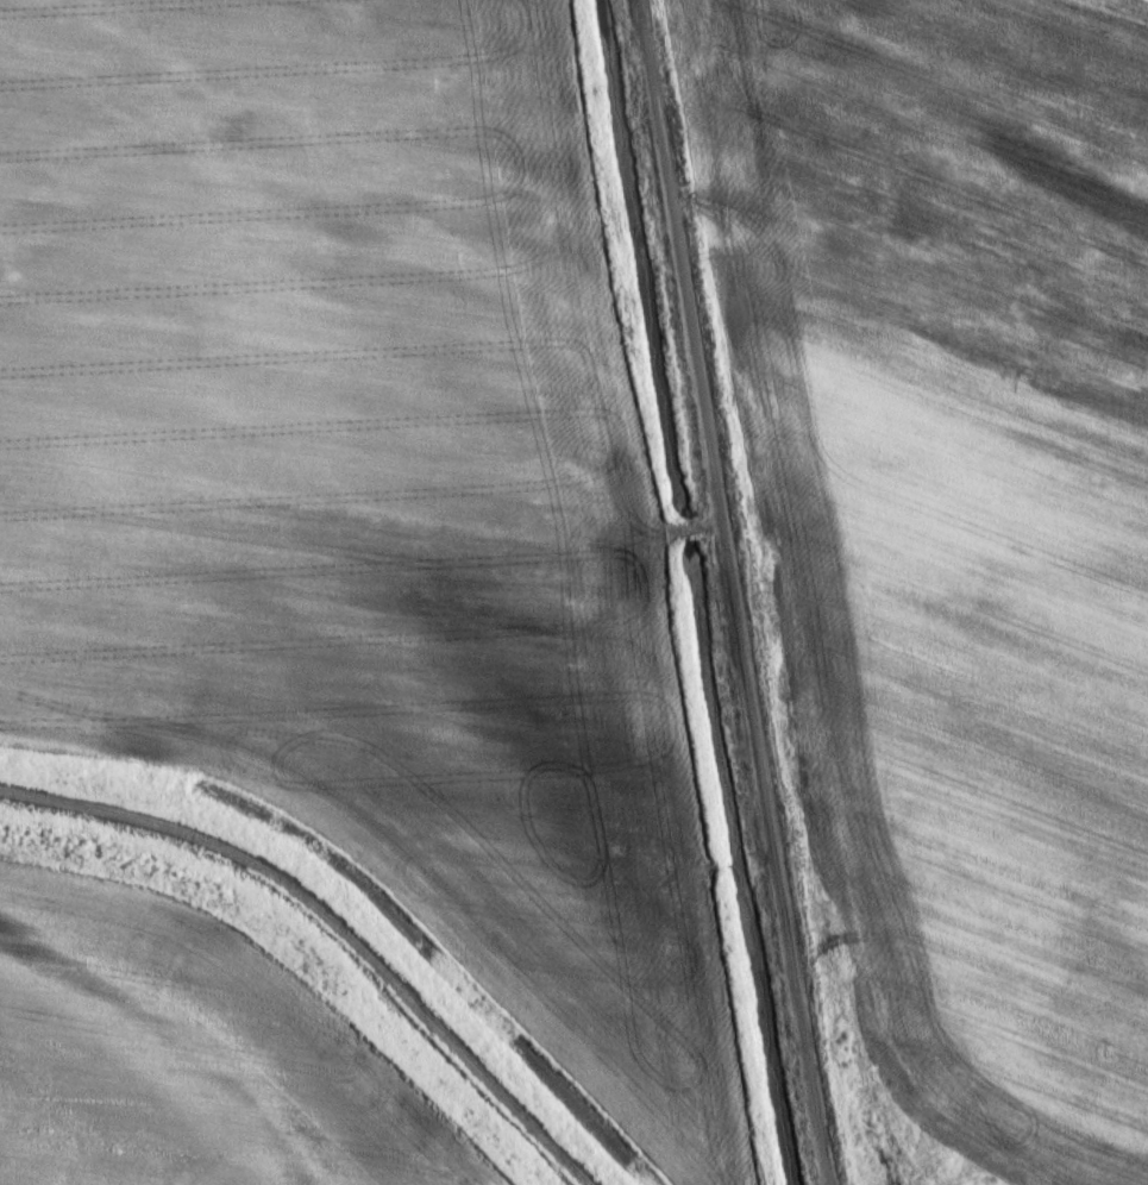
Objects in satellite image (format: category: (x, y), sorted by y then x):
road: (732, 592)

